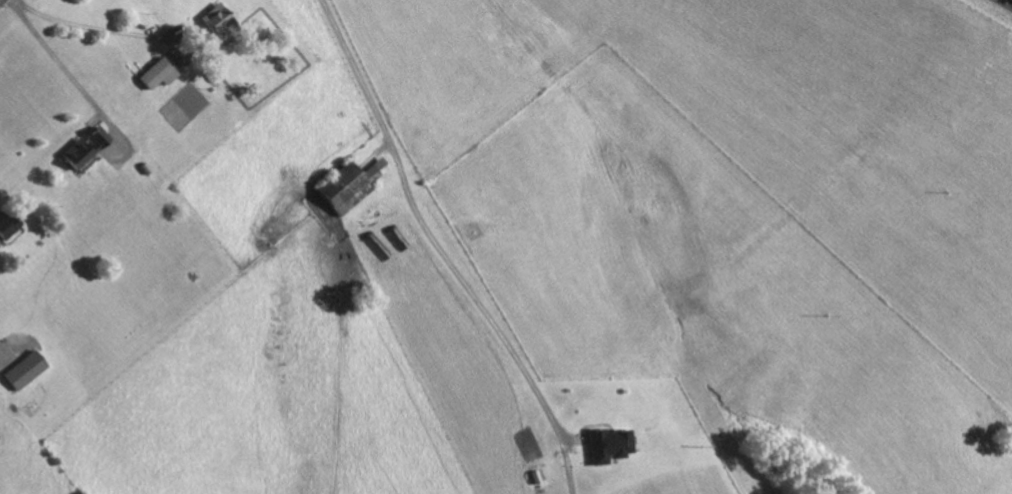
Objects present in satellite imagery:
road: (0, 0)
road: (1005, 3)
building: (219, 21)
building: (156, 71)
building: (82, 145)
building: (351, 182)
building: (7, 222)
building: (11, 233)
building: (23, 367)
building: (608, 443)

